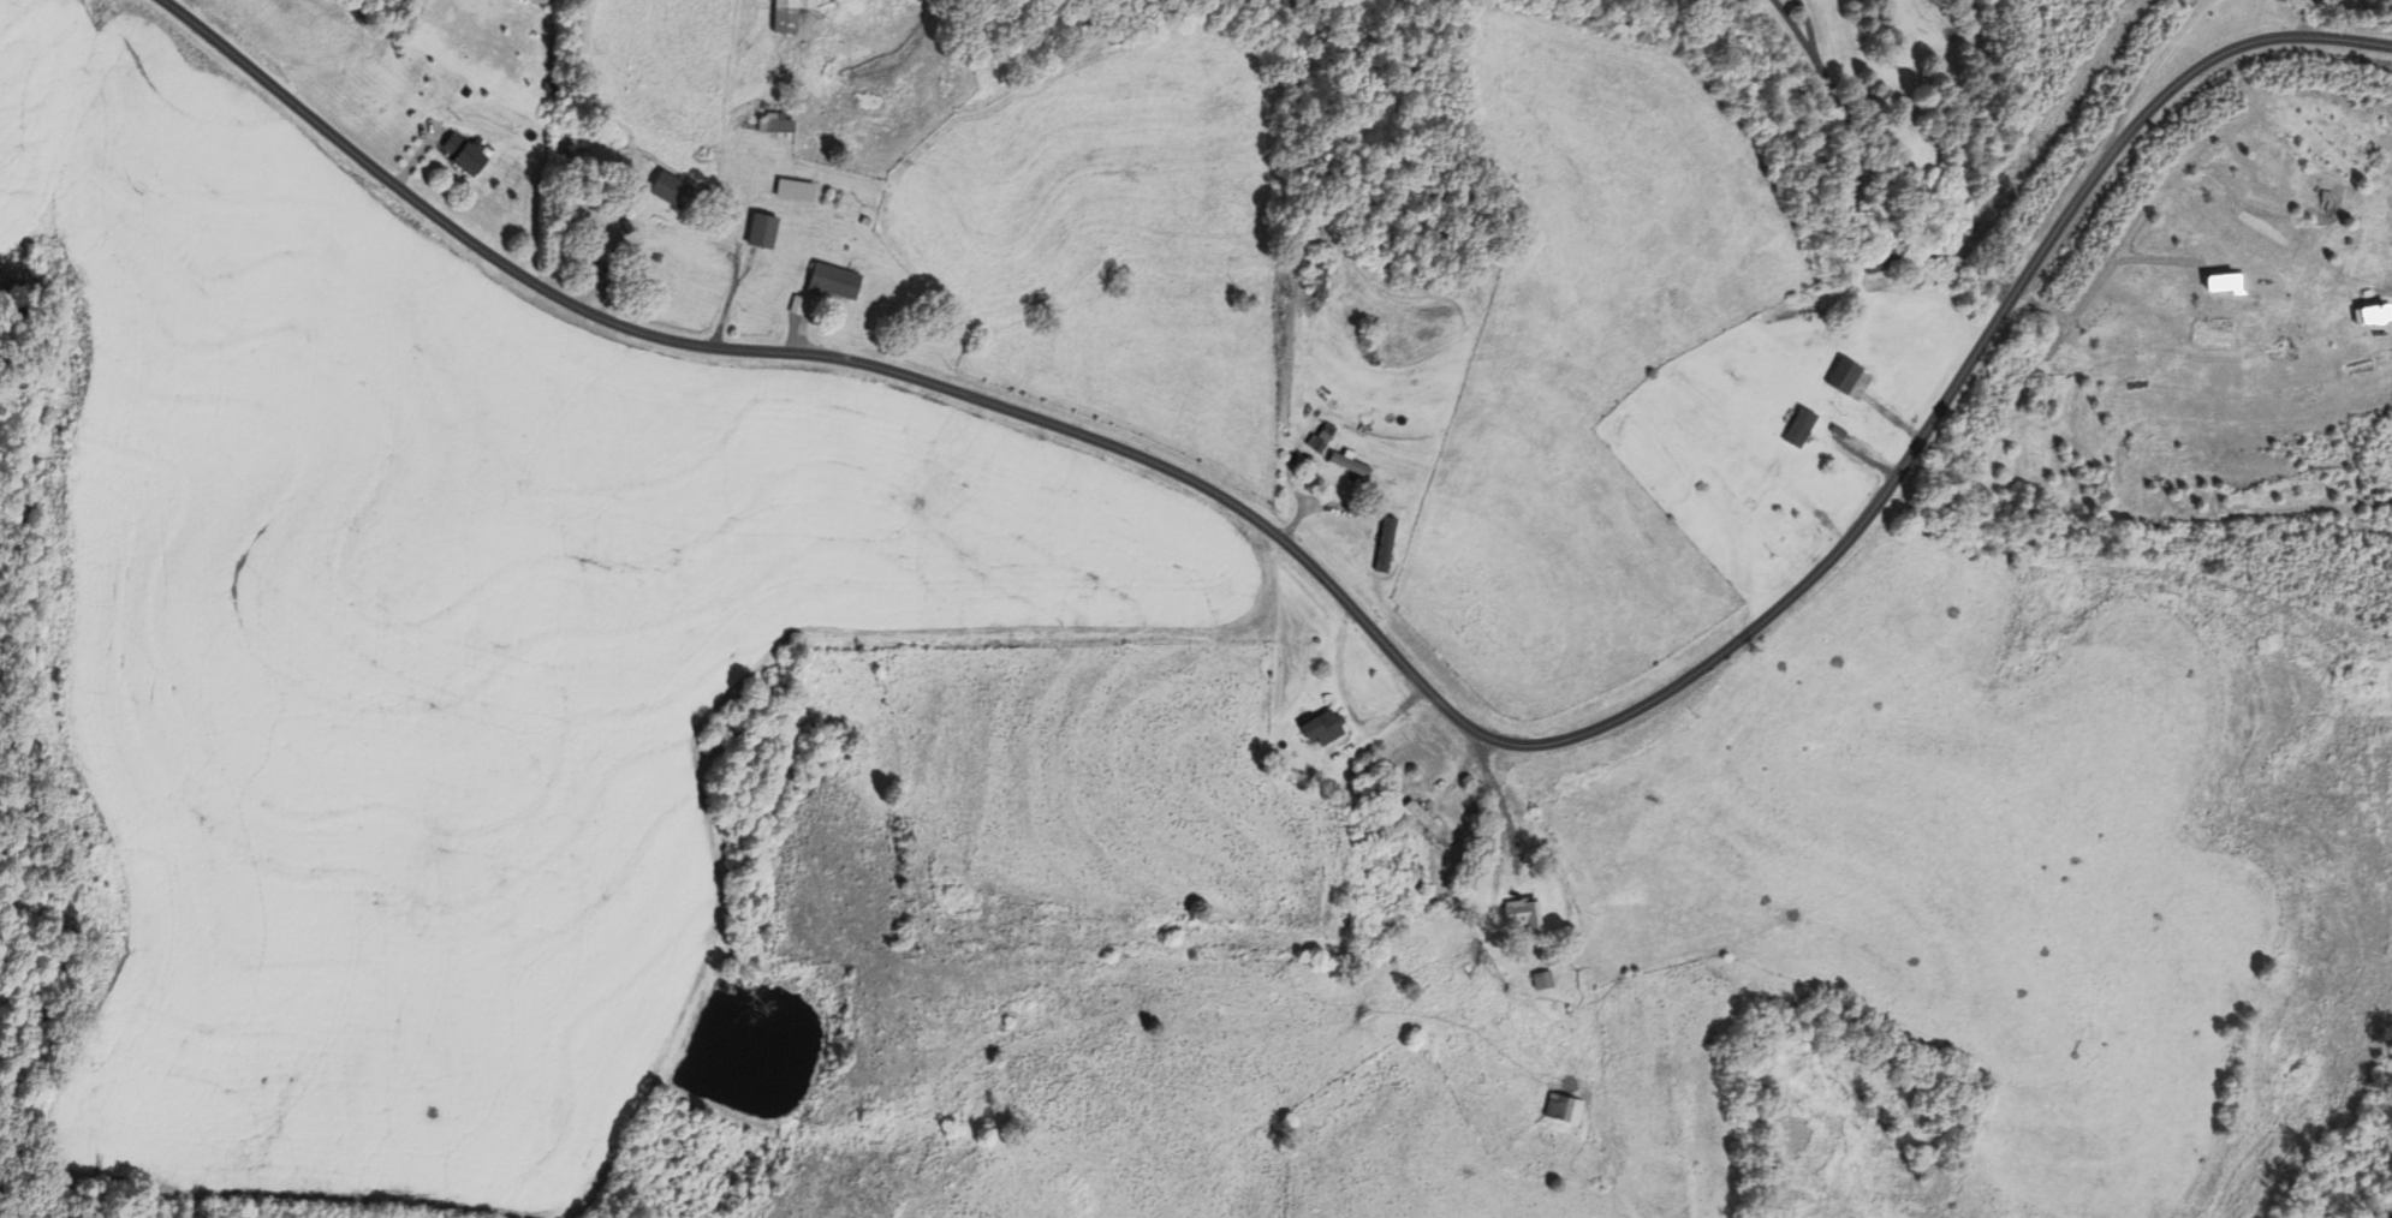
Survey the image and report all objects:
building: (789, 14)
building: (1076, 24)
road: (1808, 24)
road: (1793, 25)
building: (775, 124)
building: (670, 189)
building: (795, 190)
building: (761, 231)
road: (1852, 239)
building: (601, 251)
building: (1317, 277)
building: (833, 281)
building: (1843, 376)
building: (1798, 428)
building: (1350, 460)
building: (1760, 490)
road: (1368, 625)
building: (1321, 728)
road: (84, 804)
road: (1499, 805)
building: (1427, 823)
building: (1414, 886)
building: (1522, 914)
building: (1541, 980)
building: (1561, 1115)
road: (2390, 1216)

